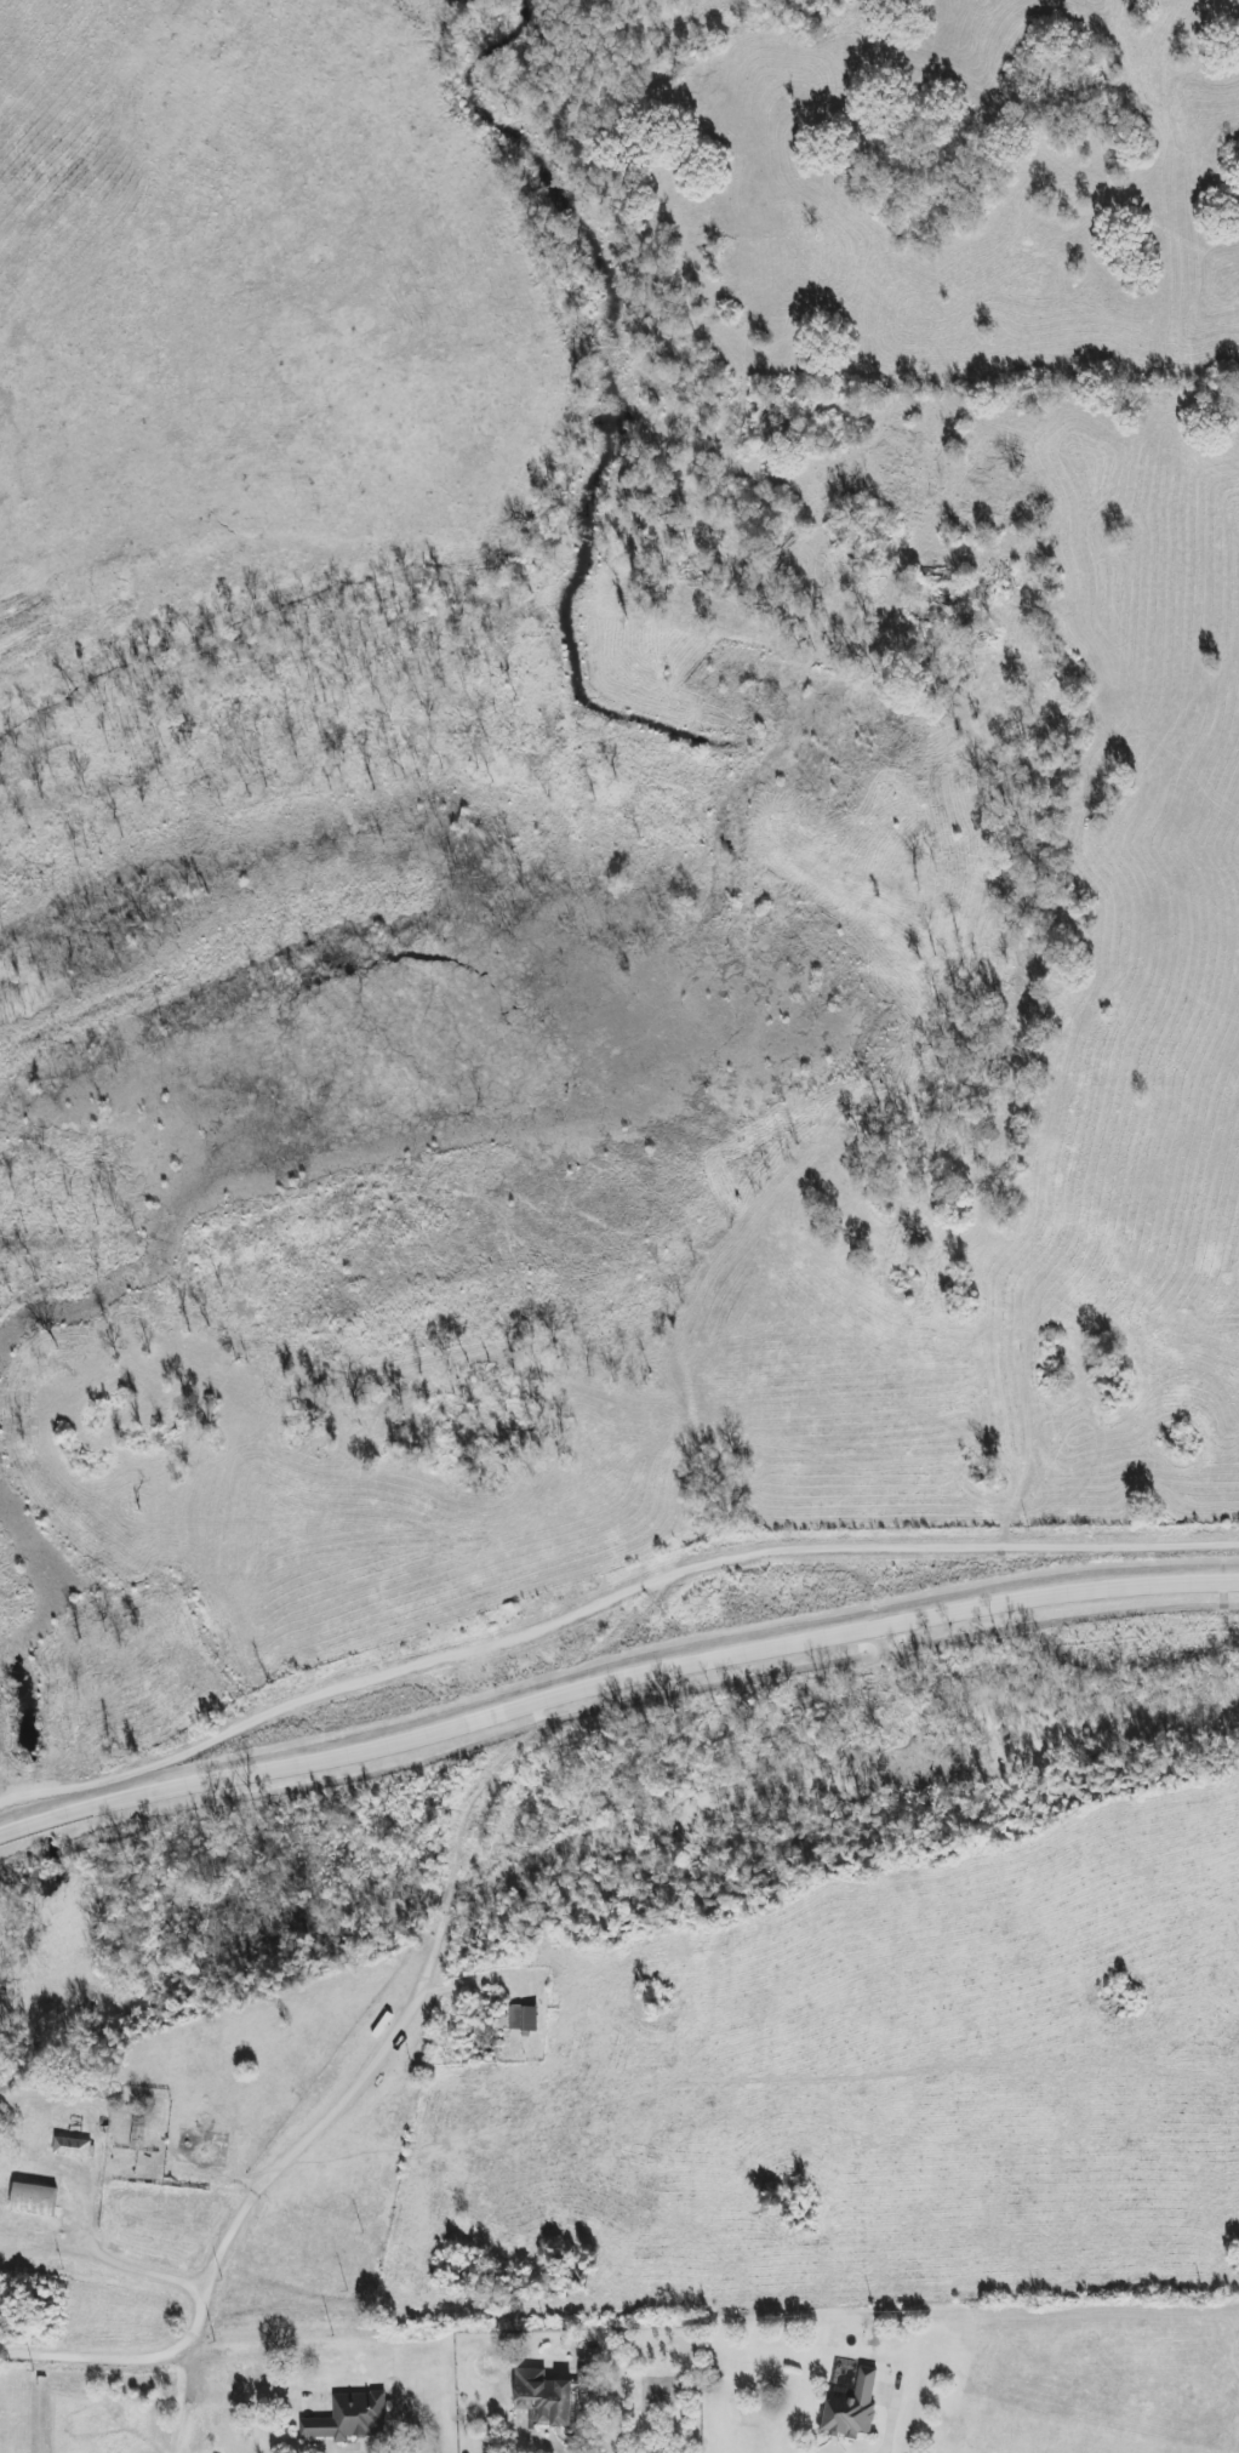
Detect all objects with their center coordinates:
road: (605, 1608)
road: (613, 1687)
road: (462, 1838)
river: (617, 1846)
building: (521, 2018)
building: (136, 2134)
building: (72, 2147)
road: (315, 2147)
building: (32, 2200)
road: (108, 2258)
road: (73, 2356)
building: (583, 2379)
building: (543, 2397)
building: (852, 2408)
building: (348, 2418)
road: (537, 2436)

